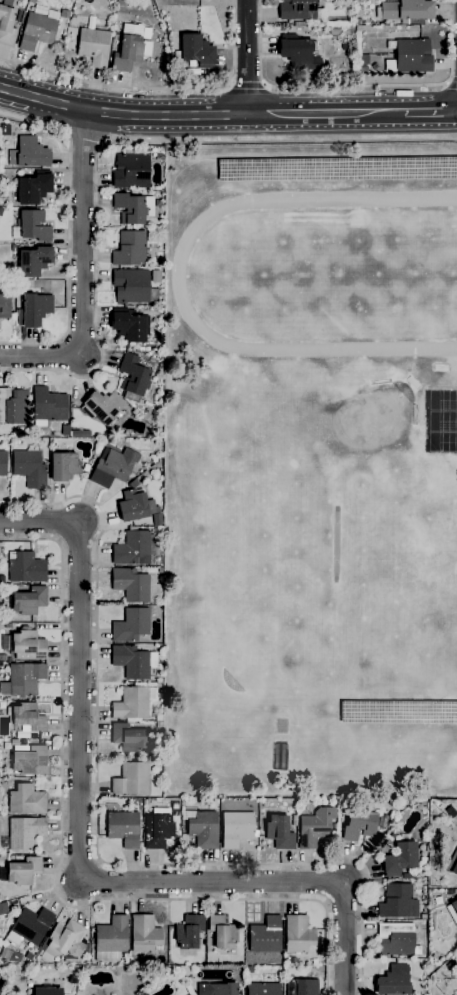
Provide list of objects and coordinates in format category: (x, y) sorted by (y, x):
building: (31, 1)
building: (299, 10)
building: (406, 11)
building: (358, 22)
building: (7, 23)
building: (199, 24)
building: (299, 24)
building: (37, 31)
building: (94, 46)
building: (129, 49)
building: (195, 51)
building: (298, 53)
road: (247, 57)
building: (411, 57)
building: (375, 67)
building: (363, 69)
building: (192, 72)
road: (450, 85)
road: (248, 86)
road: (354, 86)
road: (155, 88)
road: (431, 113)
road: (200, 116)
road: (84, 142)
road: (113, 142)
building: (29, 154)
building: (336, 169)
building: (131, 171)
building: (33, 188)
building: (133, 208)
building: (1, 212)
track: (315, 215)
track: (314, 221)
building: (31, 227)
road: (69, 234)
building: (13, 248)
building: (130, 249)
building: (34, 261)
track: (328, 274)
road: (81, 277)
track: (178, 277)
park: (345, 281)
building: (131, 286)
building: (4, 306)
building: (34, 310)
building: (128, 326)
building: (133, 375)
park: (443, 399)
building: (13, 406)
building: (48, 407)
building: (104, 408)
park: (368, 418)
park: (443, 422)
building: (80, 433)
park: (443, 443)
building: (3, 464)
building: (63, 464)
building: (113, 467)
building: (29, 468)
building: (136, 506)
park: (334, 542)
building: (133, 548)
building: (26, 568)
building: (131, 585)
building: (29, 601)
building: (131, 625)
building: (25, 645)
building: (3, 658)
building: (133, 662)
building: (23, 680)
building: (133, 703)
building: (398, 710)
building: (28, 717)
building: (127, 738)
building: (29, 760)
building: (131, 779)
building: (26, 800)
building: (359, 824)
building: (315, 827)
building: (202, 828)
building: (123, 829)
building: (158, 829)
building: (236, 829)
road: (96, 831)
building: (25, 833)
building: (279, 833)
road: (79, 849)
building: (400, 858)
building: (453, 864)
building: (23, 871)
road: (56, 872)
building: (406, 876)
building: (449, 892)
building: (398, 902)
building: (436, 903)
building: (3, 909)
building: (453, 911)
building: (29, 927)
building: (189, 932)
building: (222, 933)
building: (144, 934)
building: (298, 934)
building: (265, 936)
building: (110, 938)
building: (397, 940)
building: (63, 941)
building: (28, 956)
building: (450, 965)
building: (393, 981)
building: (302, 987)
building: (217, 989)
building: (263, 989)
building: (45, 991)

